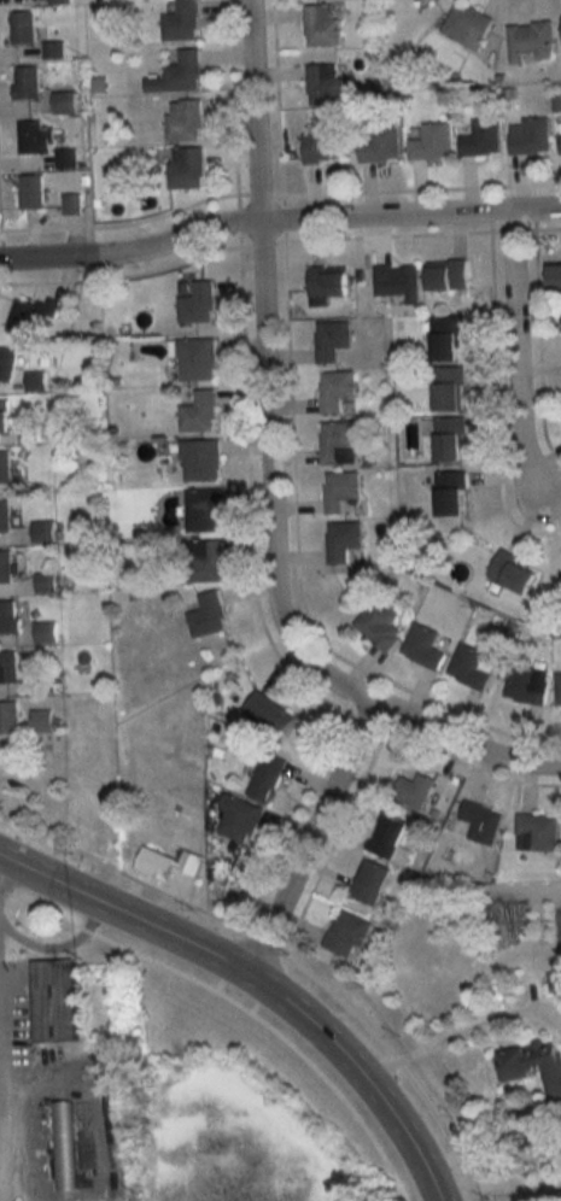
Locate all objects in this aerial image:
building: (60, 1)
building: (181, 22)
building: (321, 25)
building: (467, 25)
building: (23, 27)
building: (531, 41)
building: (53, 49)
building: (179, 75)
building: (25, 82)
building: (325, 83)
building: (65, 102)
building: (183, 121)
building: (560, 134)
building: (528, 136)
building: (480, 137)
building: (35, 139)
building: (431, 141)
building: (381, 143)
building: (323, 146)
building: (65, 158)
building: (186, 168)
building: (31, 192)
building: (71, 204)
road: (277, 221)
building: (555, 275)
building: (448, 276)
building: (328, 281)
building: (397, 282)
building: (197, 303)
building: (30, 315)
building: (446, 339)
building: (333, 340)
road: (514, 351)
building: (197, 359)
building: (6, 363)
building: (448, 388)
building: (335, 389)
building: (199, 412)
building: (5, 415)
building: (450, 439)
building: (339, 443)
building: (201, 461)
building: (5, 465)
road: (265, 471)
building: (341, 493)
building: (450, 493)
building: (204, 510)
building: (5, 516)
building: (43, 532)
building: (343, 540)
building: (205, 561)
building: (6, 566)
building: (514, 573)
building: (10, 616)
building: (209, 616)
building: (381, 625)
building: (47, 632)
building: (423, 646)
building: (472, 667)
building: (8, 670)
building: (526, 684)
building: (557, 690)
building: (270, 714)
building: (10, 716)
building: (42, 720)
building: (268, 777)
building: (414, 790)
building: (240, 819)
building: (483, 821)
building: (537, 832)
road: (309, 833)
building: (391, 838)
building: (168, 862)
building: (372, 881)
building: (347, 933)
road: (281, 956)
building: (555, 980)
road: (259, 982)
building: (55, 1001)
road: (234, 1003)
road: (462, 1031)
building: (533, 1066)
road: (1, 1133)
building: (66, 1146)
road: (499, 1185)

